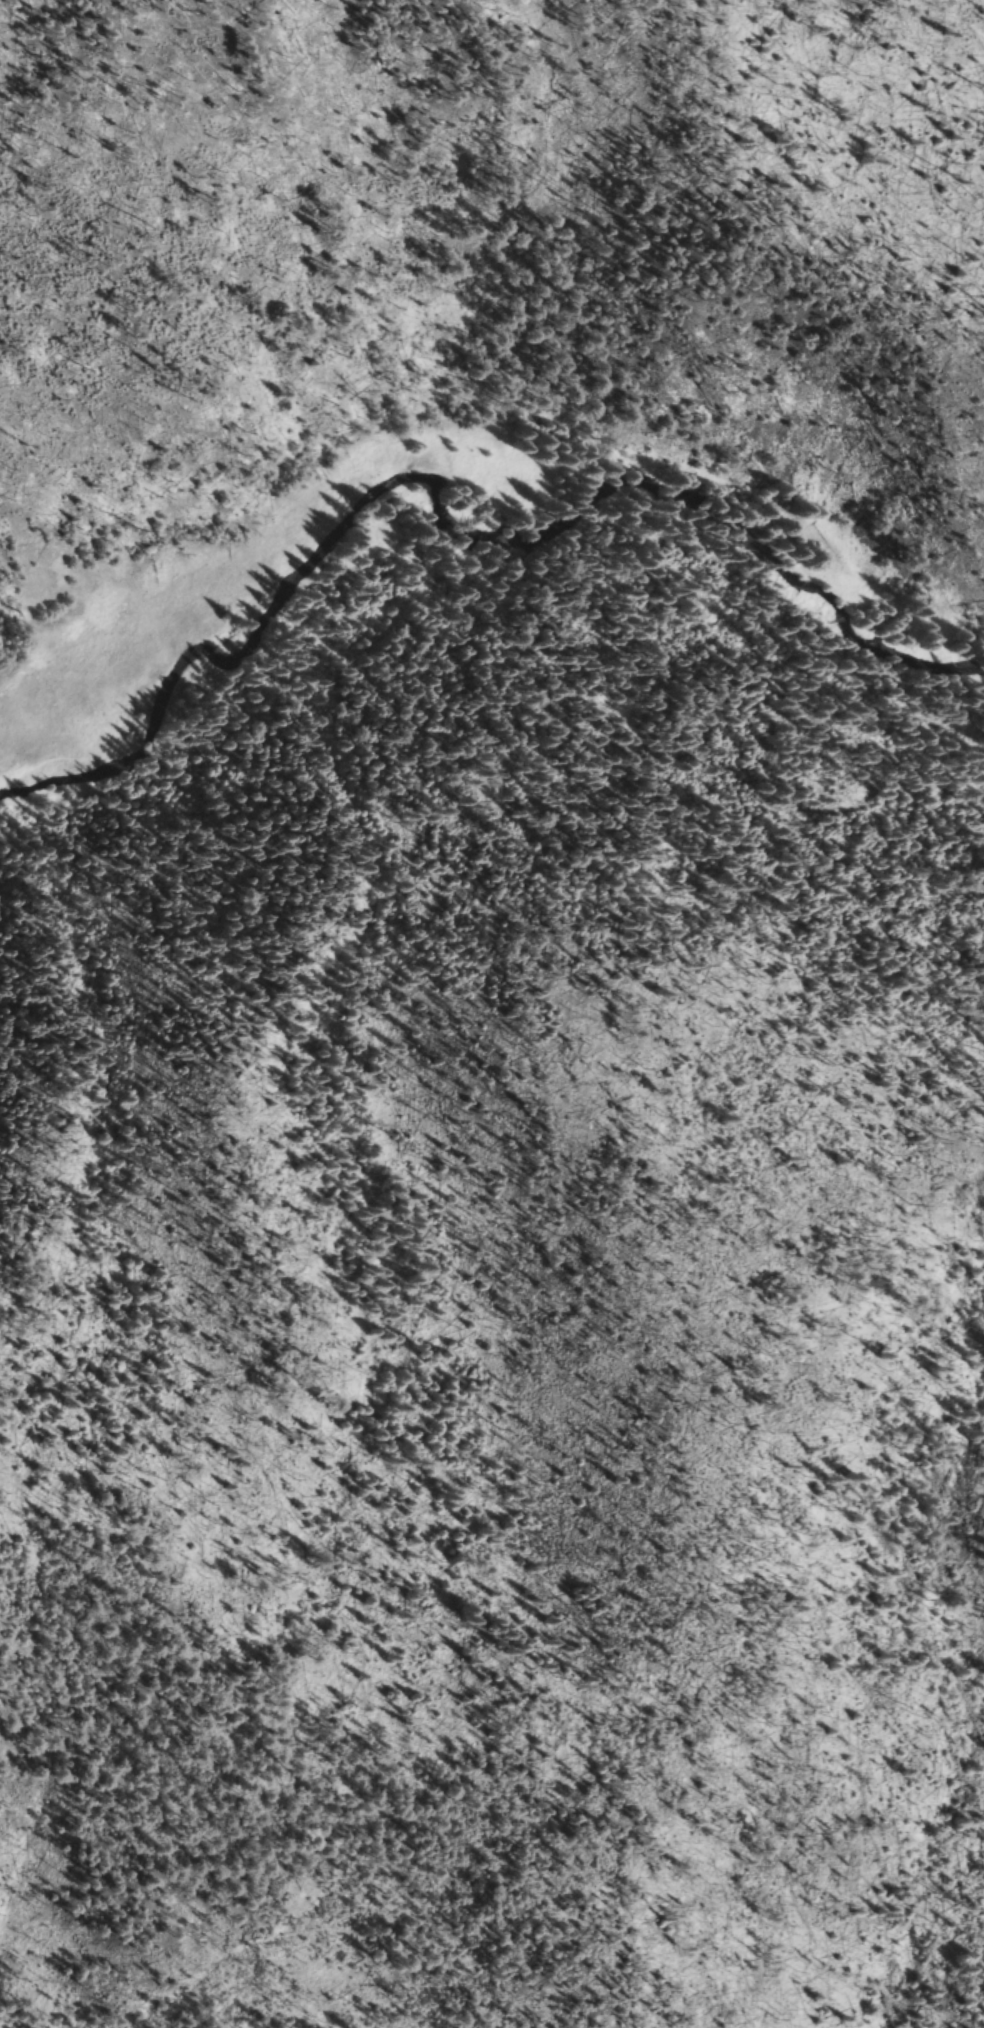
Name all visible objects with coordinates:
river: (447, 513)

